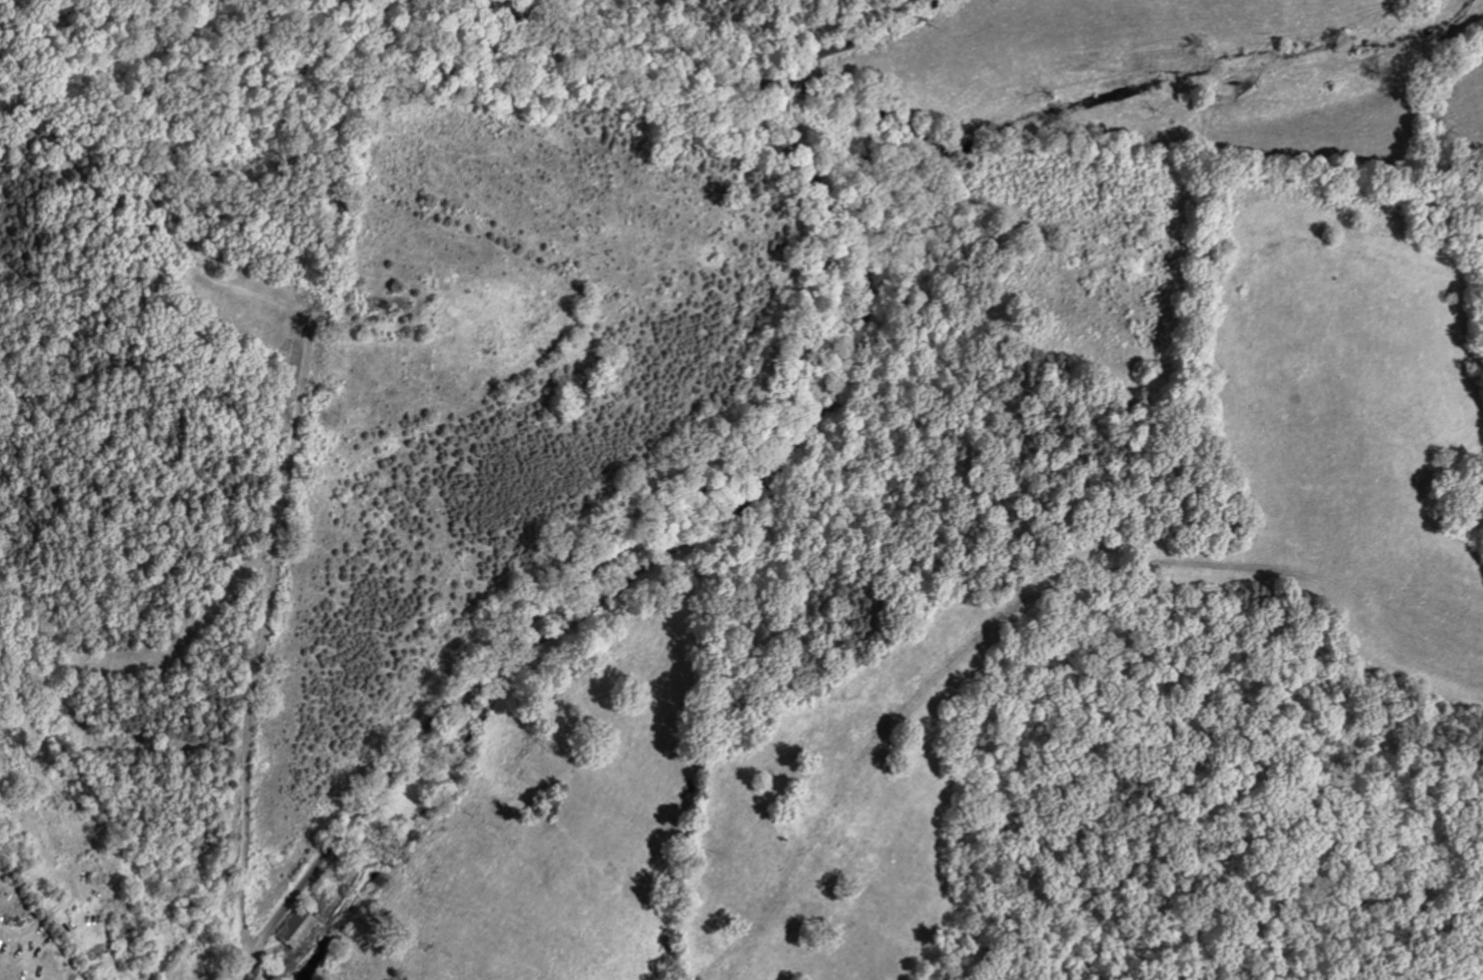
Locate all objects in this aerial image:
road: (684, 506)
building: (297, 931)

